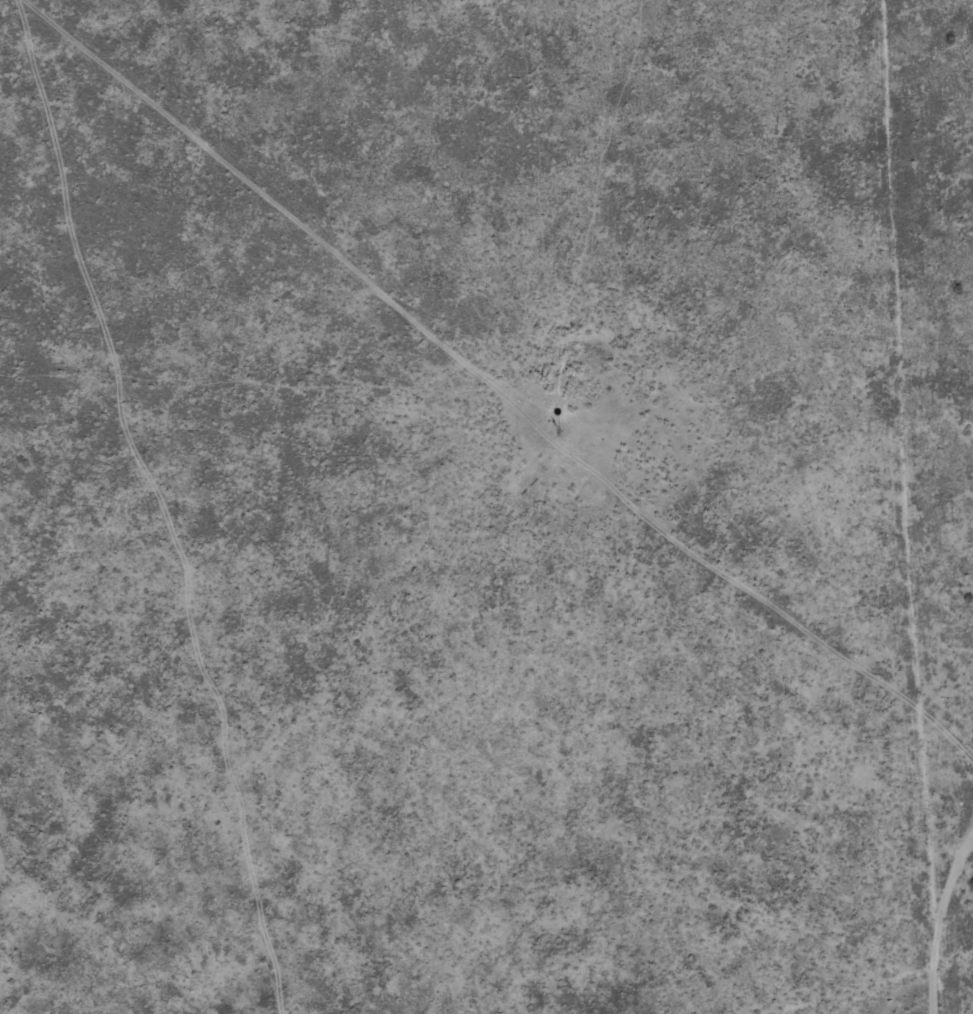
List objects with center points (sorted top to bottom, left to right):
road: (934, 1003)

